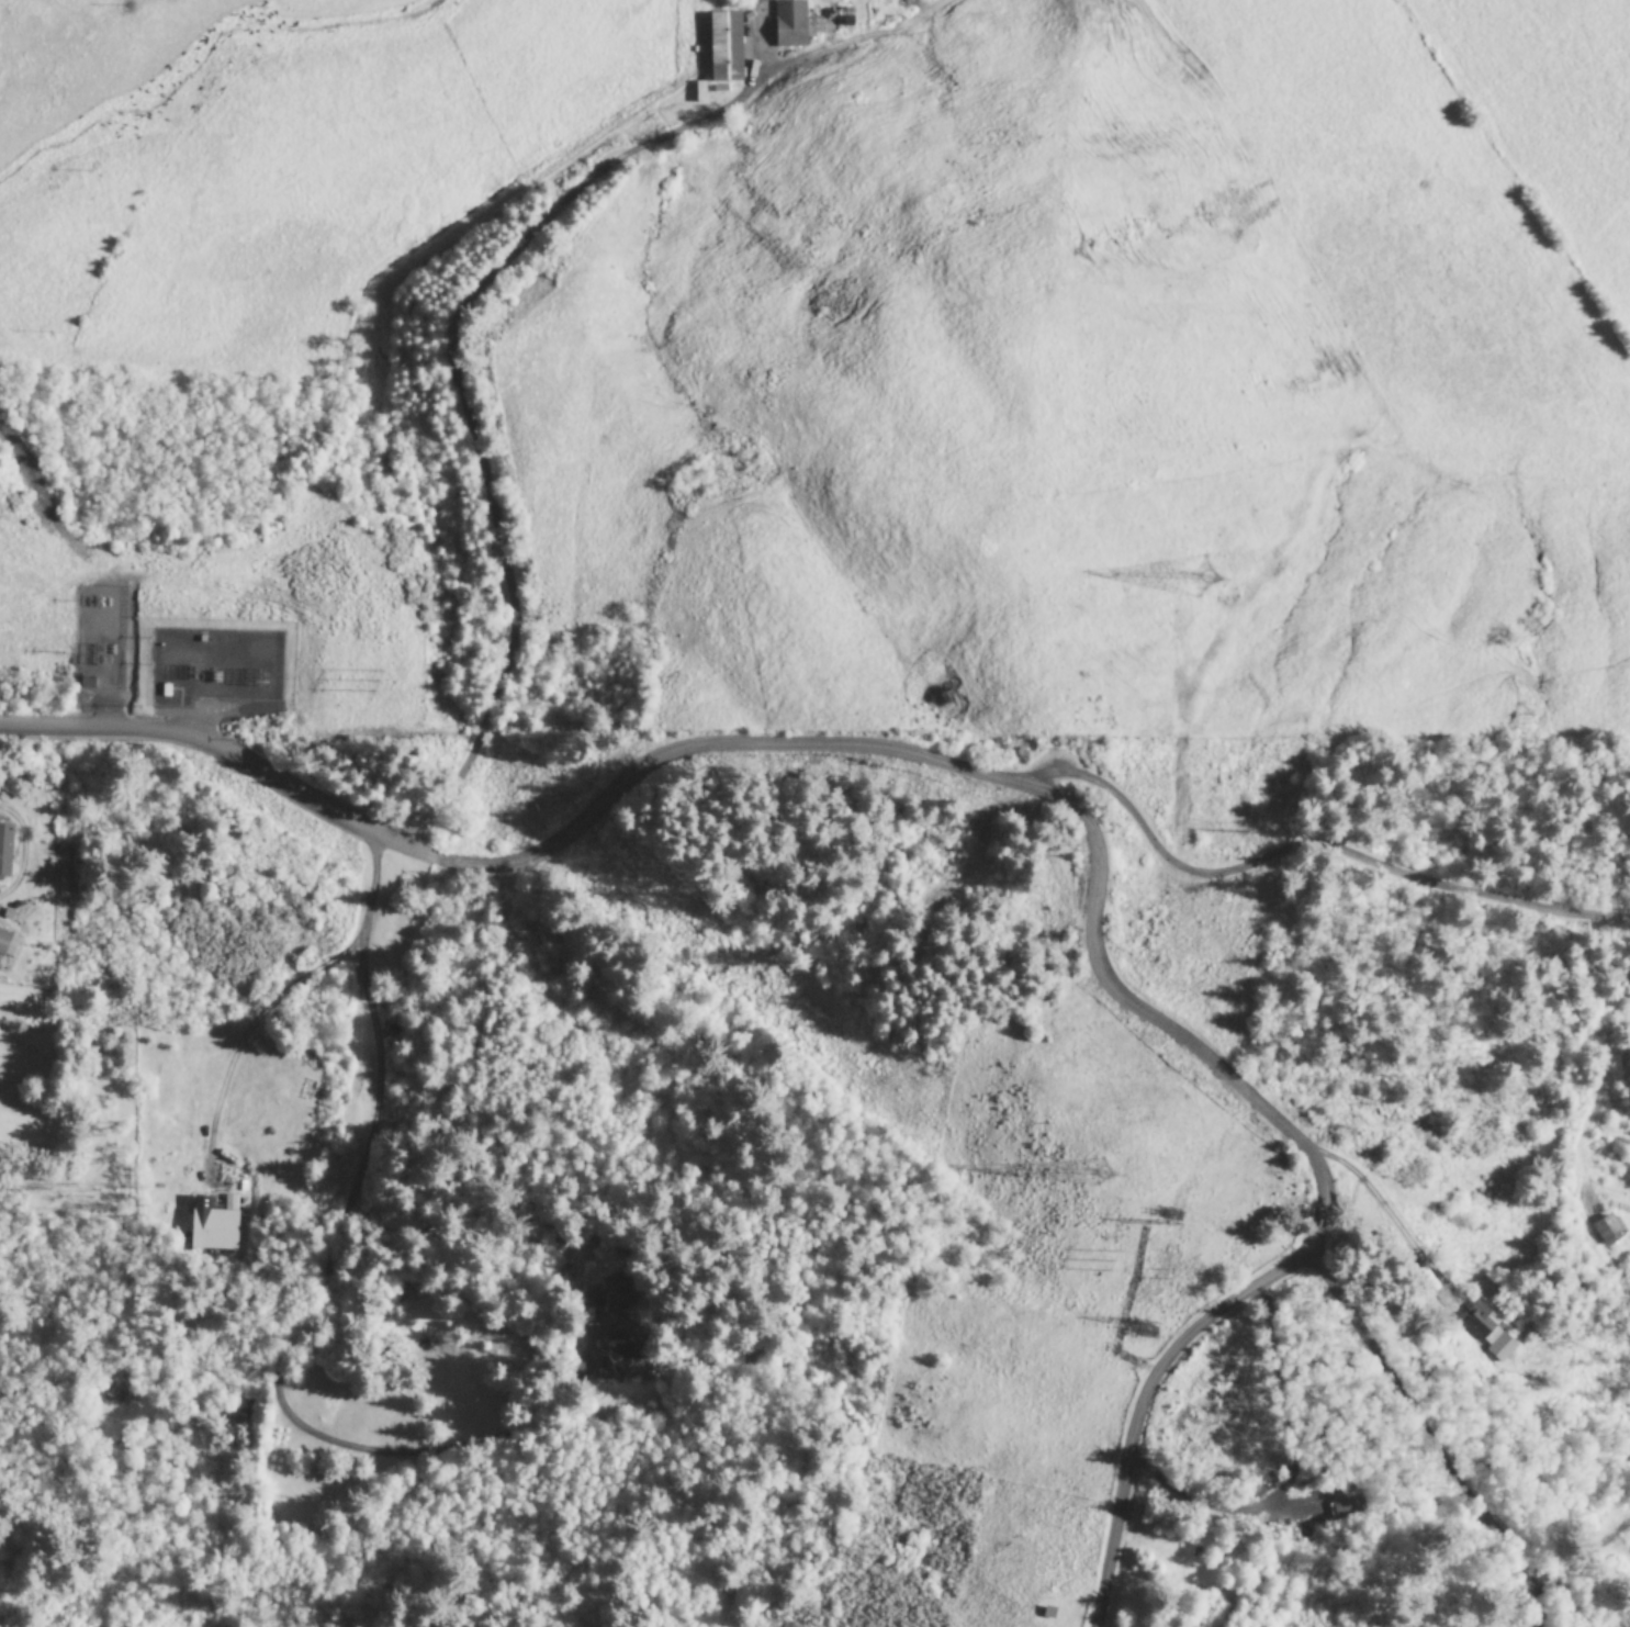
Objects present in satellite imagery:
building: (788, 24)
building: (722, 47)
road: (454, 371)
power tower: (1198, 577)
building: (4, 850)
road: (1311, 855)
road: (517, 860)
building: (5, 945)
road: (1146, 1016)
power tower: (1095, 1174)
building: (213, 1225)
building: (1606, 1231)
building: (614, 1291)
building: (1485, 1334)
building: (616, 1349)
road: (1453, 1391)
road: (1146, 1407)
building: (1345, 1508)

